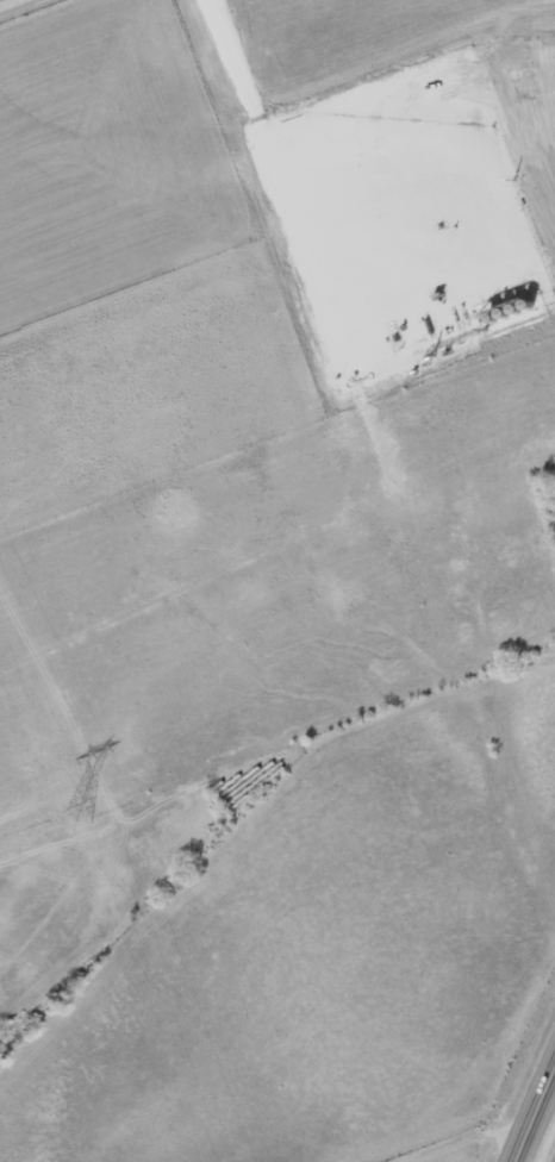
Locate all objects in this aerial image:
road: (18, 6)
power tower: (75, 818)
road: (541, 1127)

